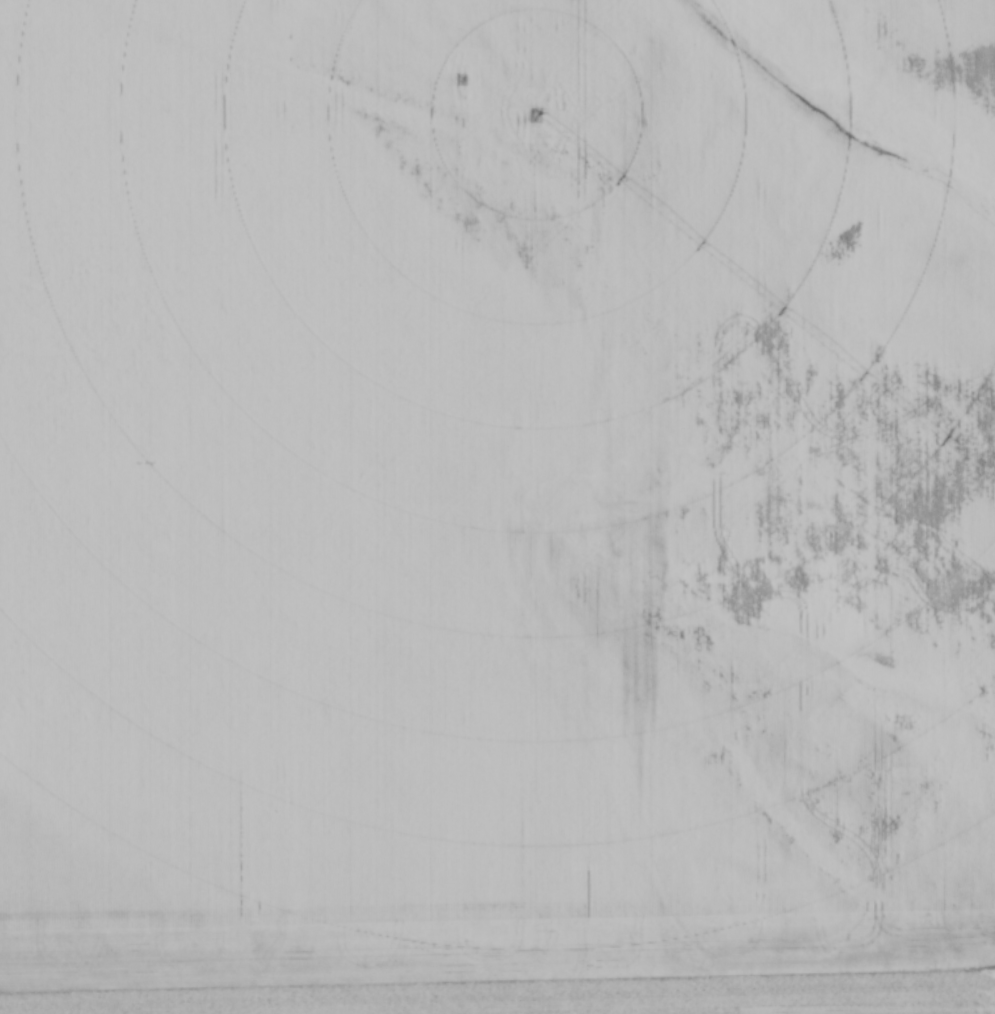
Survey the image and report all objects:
building: (615, 462)
building: (695, 504)

